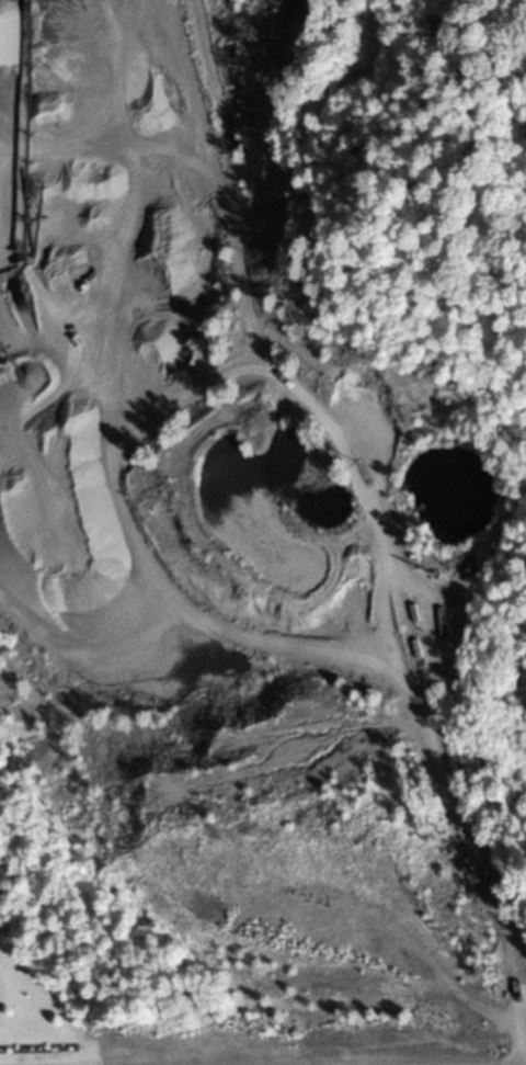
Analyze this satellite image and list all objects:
quarry: (242, 564)
road: (470, 853)

